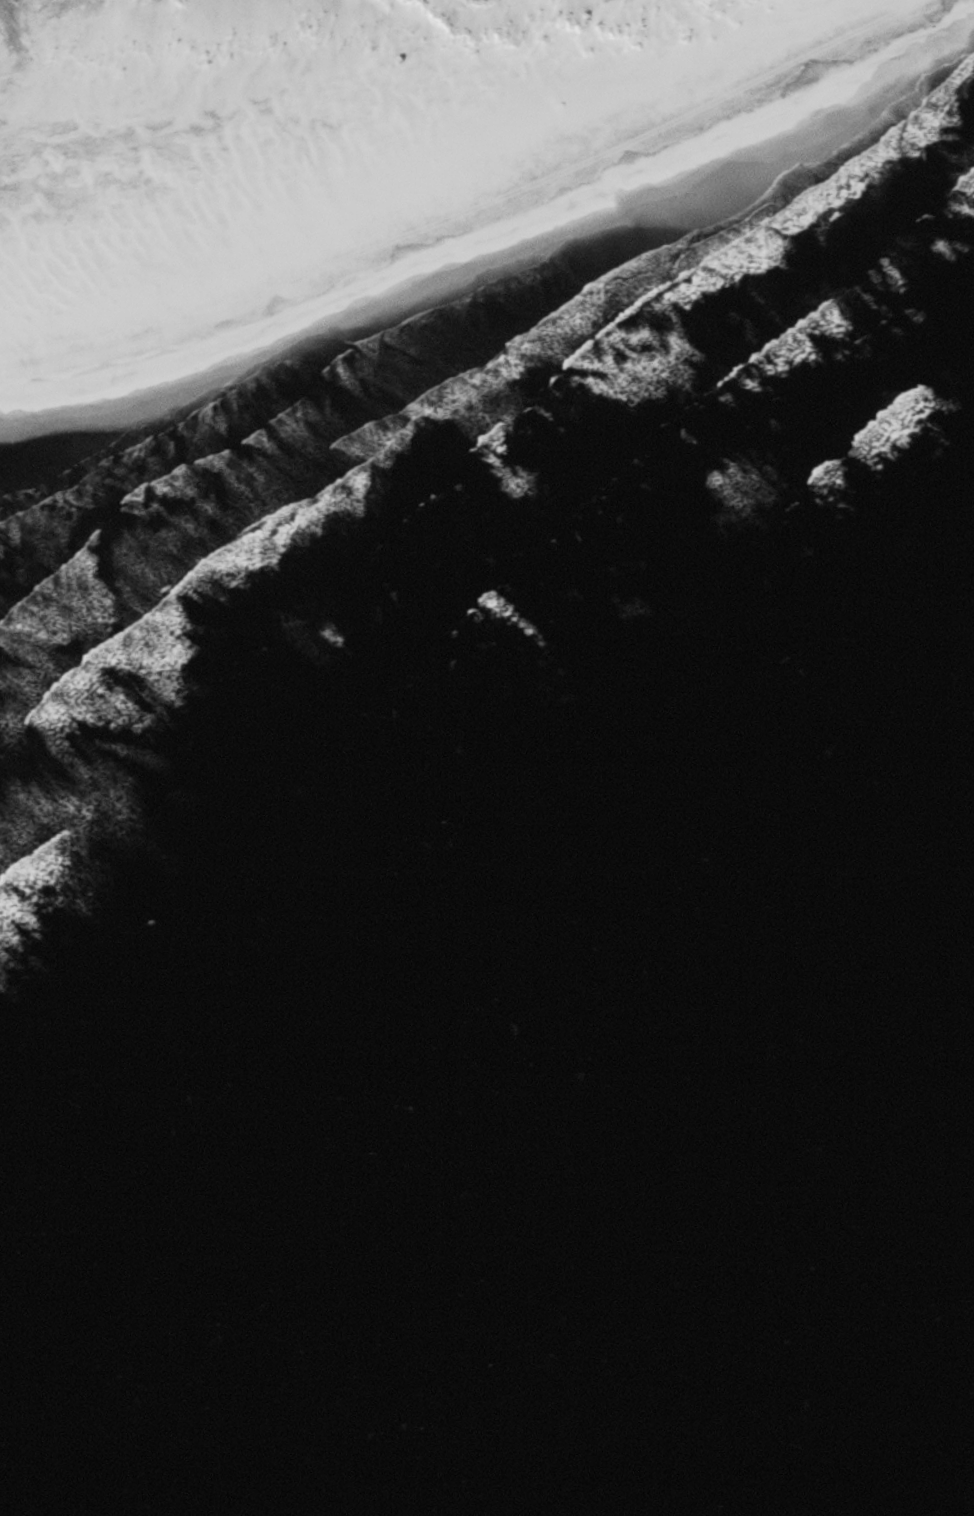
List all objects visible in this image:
park: (801, 49)

